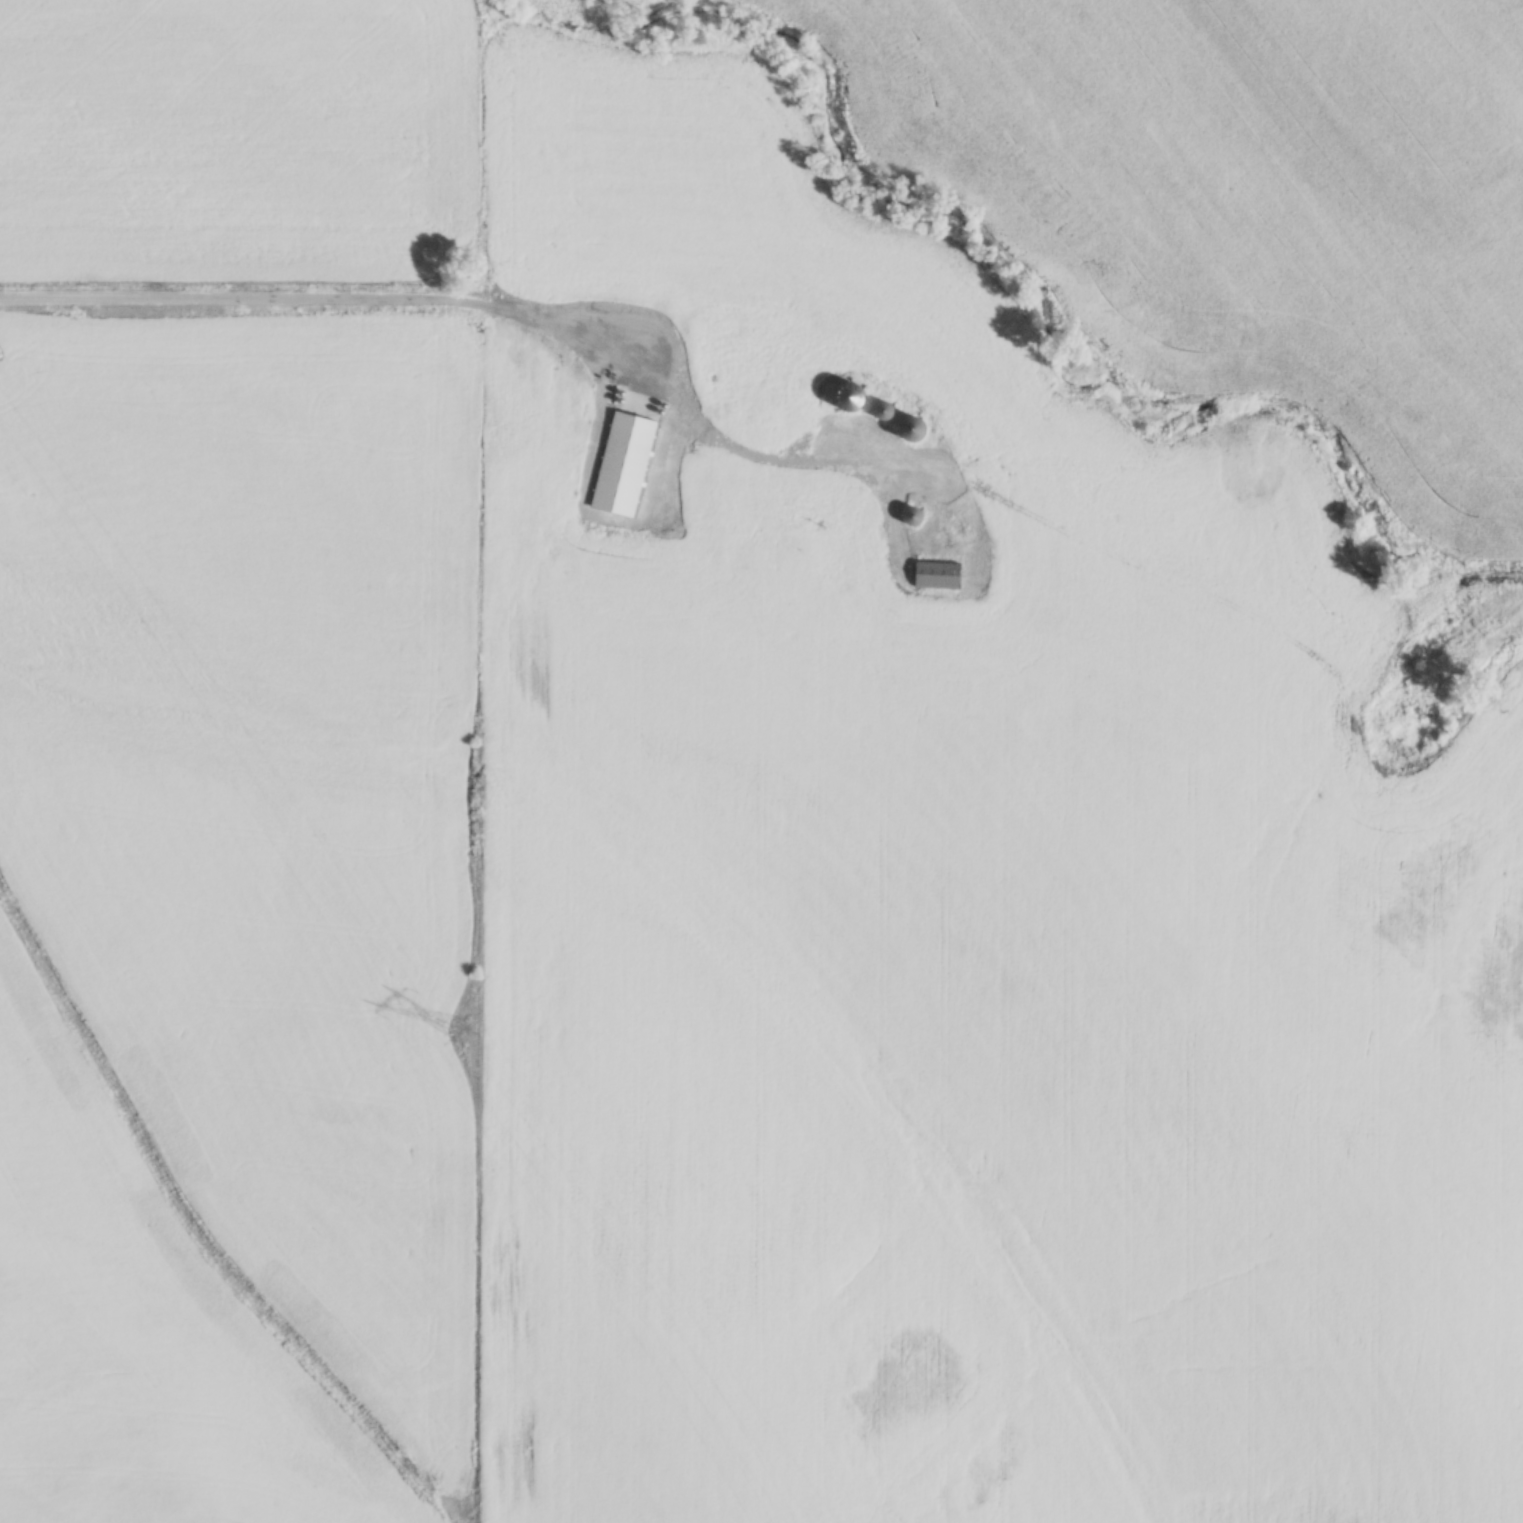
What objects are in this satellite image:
road: (363, 301)
building: (848, 393)
building: (882, 409)
building: (911, 427)
building: (935, 572)
power tower: (479, 1037)

